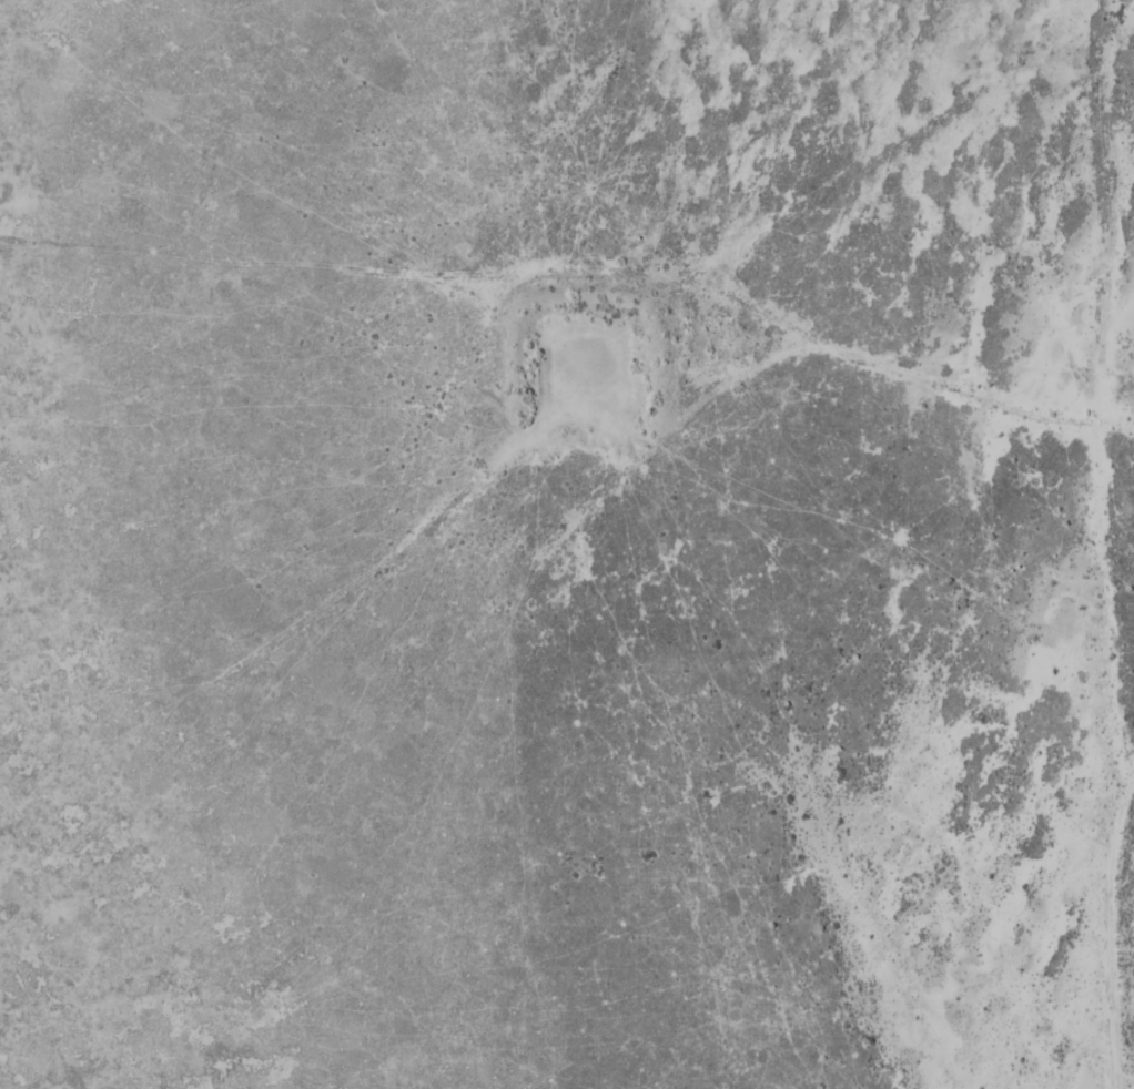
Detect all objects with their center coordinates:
road: (1023, 910)

